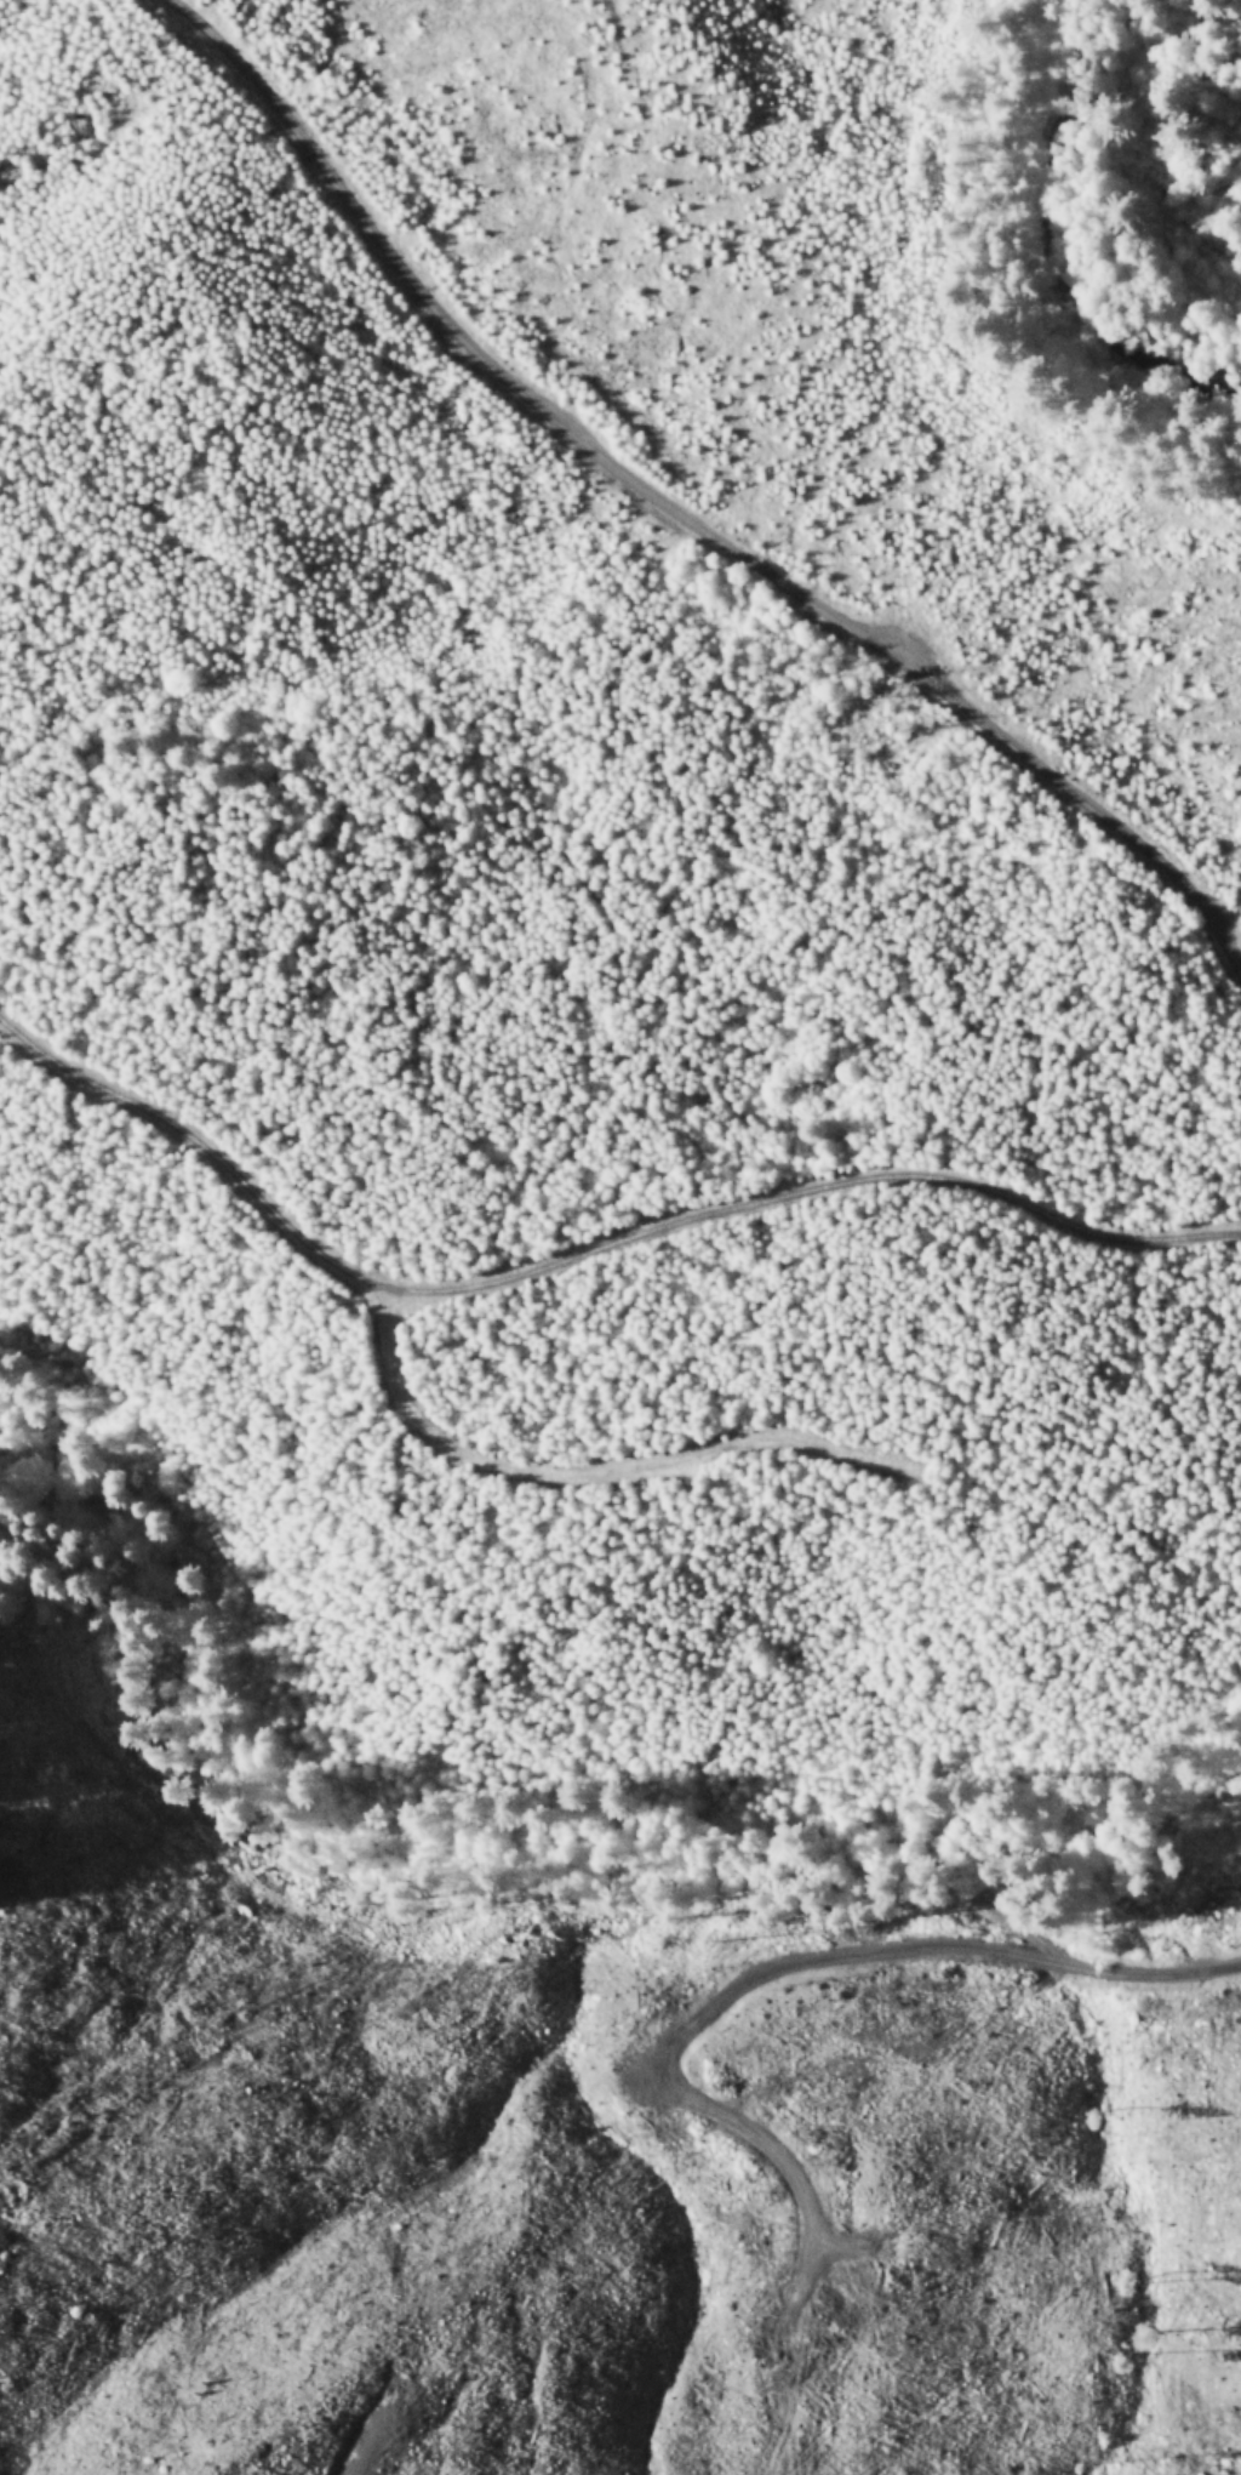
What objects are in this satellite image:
road: (680, 513)
road: (583, 1248)
road: (587, 1478)
road: (2, 1866)

